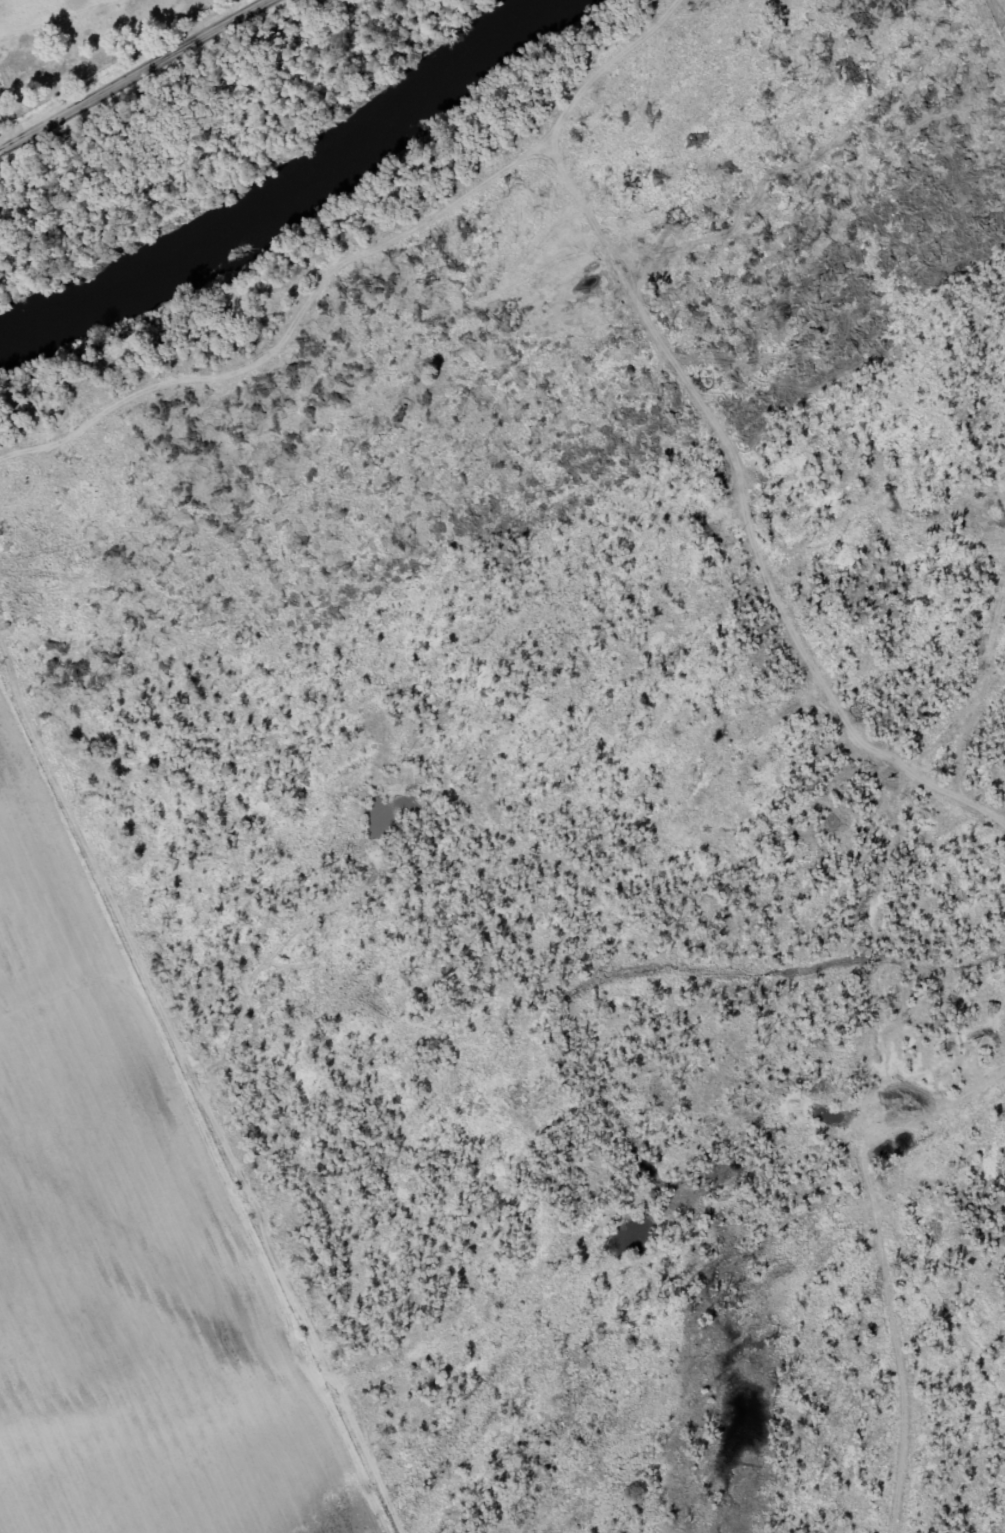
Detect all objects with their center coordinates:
road: (988, 54)
road: (140, 78)
river: (287, 195)
road: (877, 1083)
road: (901, 1361)

